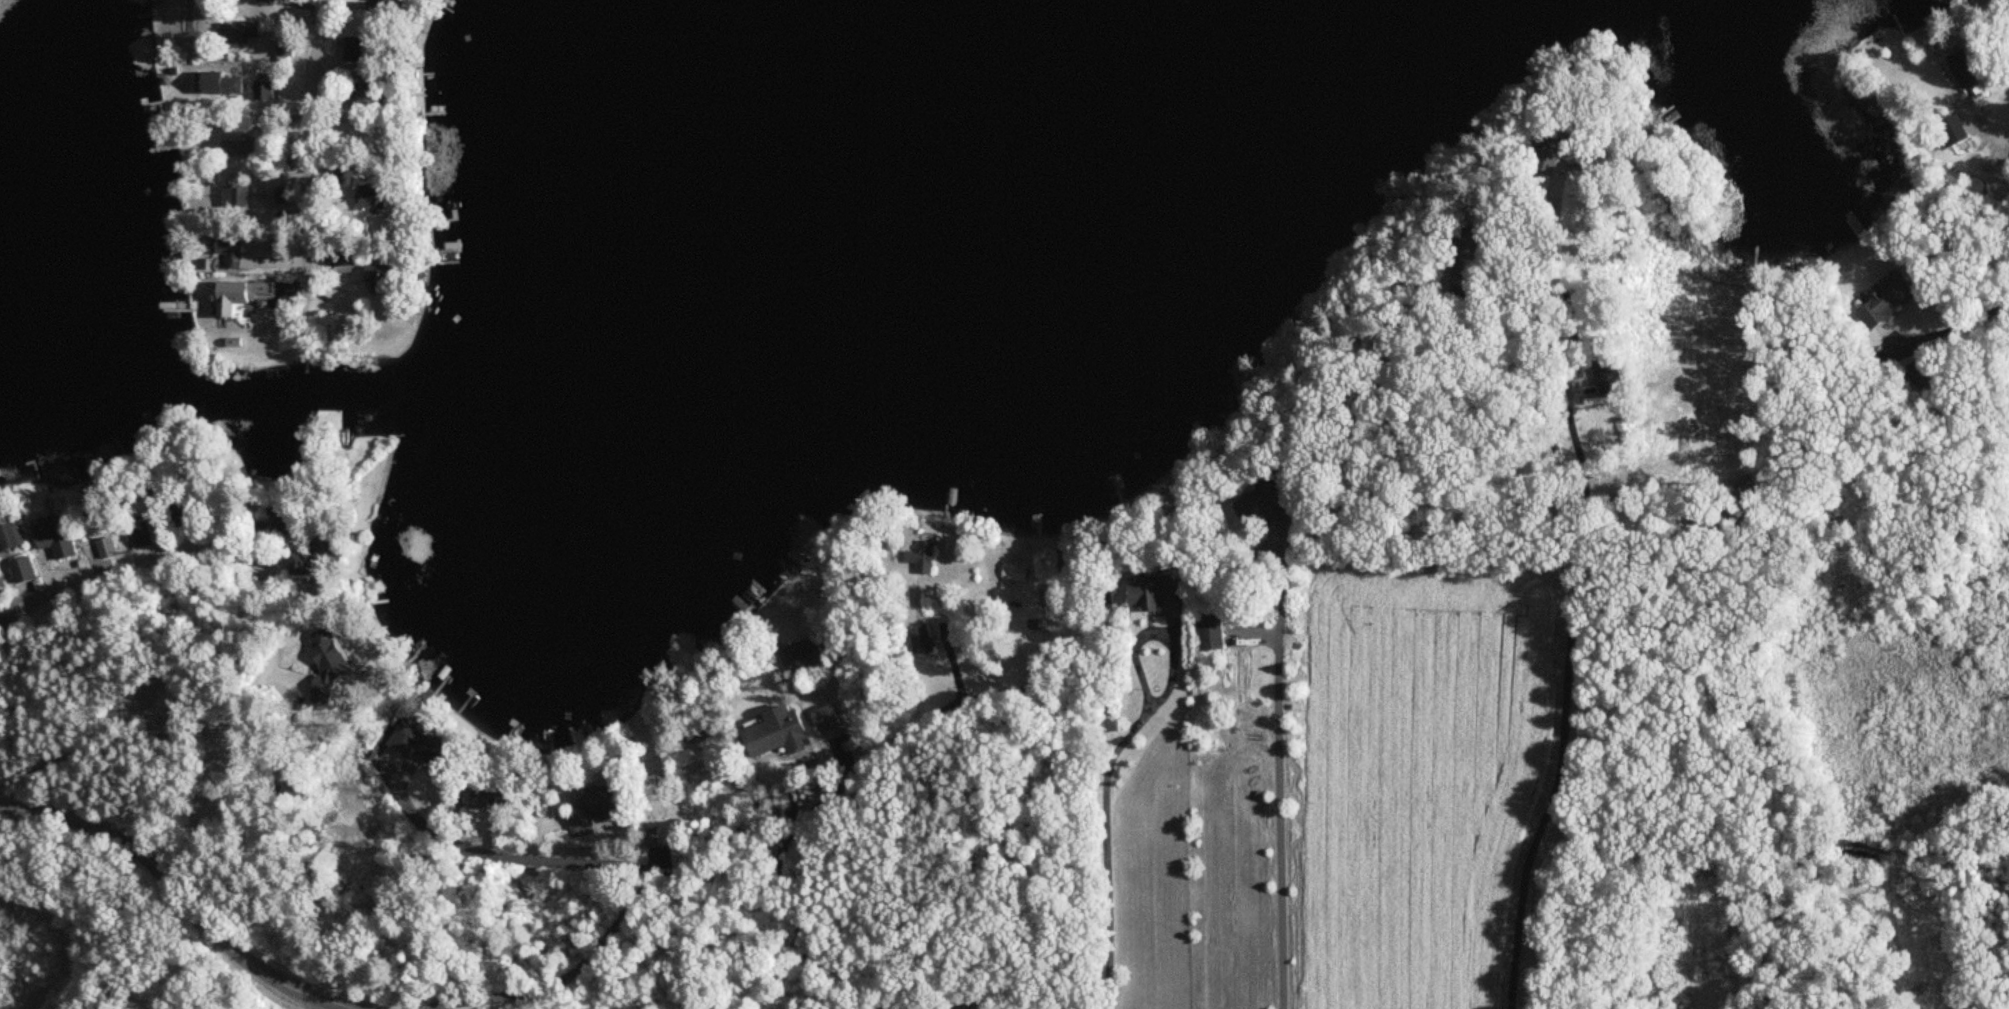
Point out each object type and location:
building: (265, 2)
building: (388, 7)
building: (237, 32)
building: (2008, 35)
building: (354, 49)
building: (1958, 69)
building: (229, 84)
building: (368, 94)
road: (1984, 123)
building: (1948, 131)
building: (237, 147)
road: (308, 148)
building: (285, 196)
building: (377, 196)
building: (234, 197)
building: (235, 255)
building: (341, 264)
building: (380, 280)
building: (242, 296)
building: (1887, 301)
road: (1967, 324)
building: (1922, 374)
building: (1261, 506)
building: (143, 508)
building: (92, 510)
building: (287, 519)
building: (142, 534)
building: (55, 535)
building: (11, 536)
building: (107, 547)
building: (923, 558)
building: (302, 564)
building: (22, 570)
road: (1227, 591)
building: (1156, 592)
road: (255, 598)
road: (1571, 621)
road: (1158, 632)
building: (1211, 633)
building: (922, 641)
building: (806, 657)
road: (817, 659)
building: (339, 662)
building: (827, 720)
building: (781, 734)
road: (1282, 782)
building: (653, 785)
road: (825, 799)
building: (592, 811)
road: (1107, 852)
road: (634, 876)
road: (179, 897)
road: (317, 1004)

